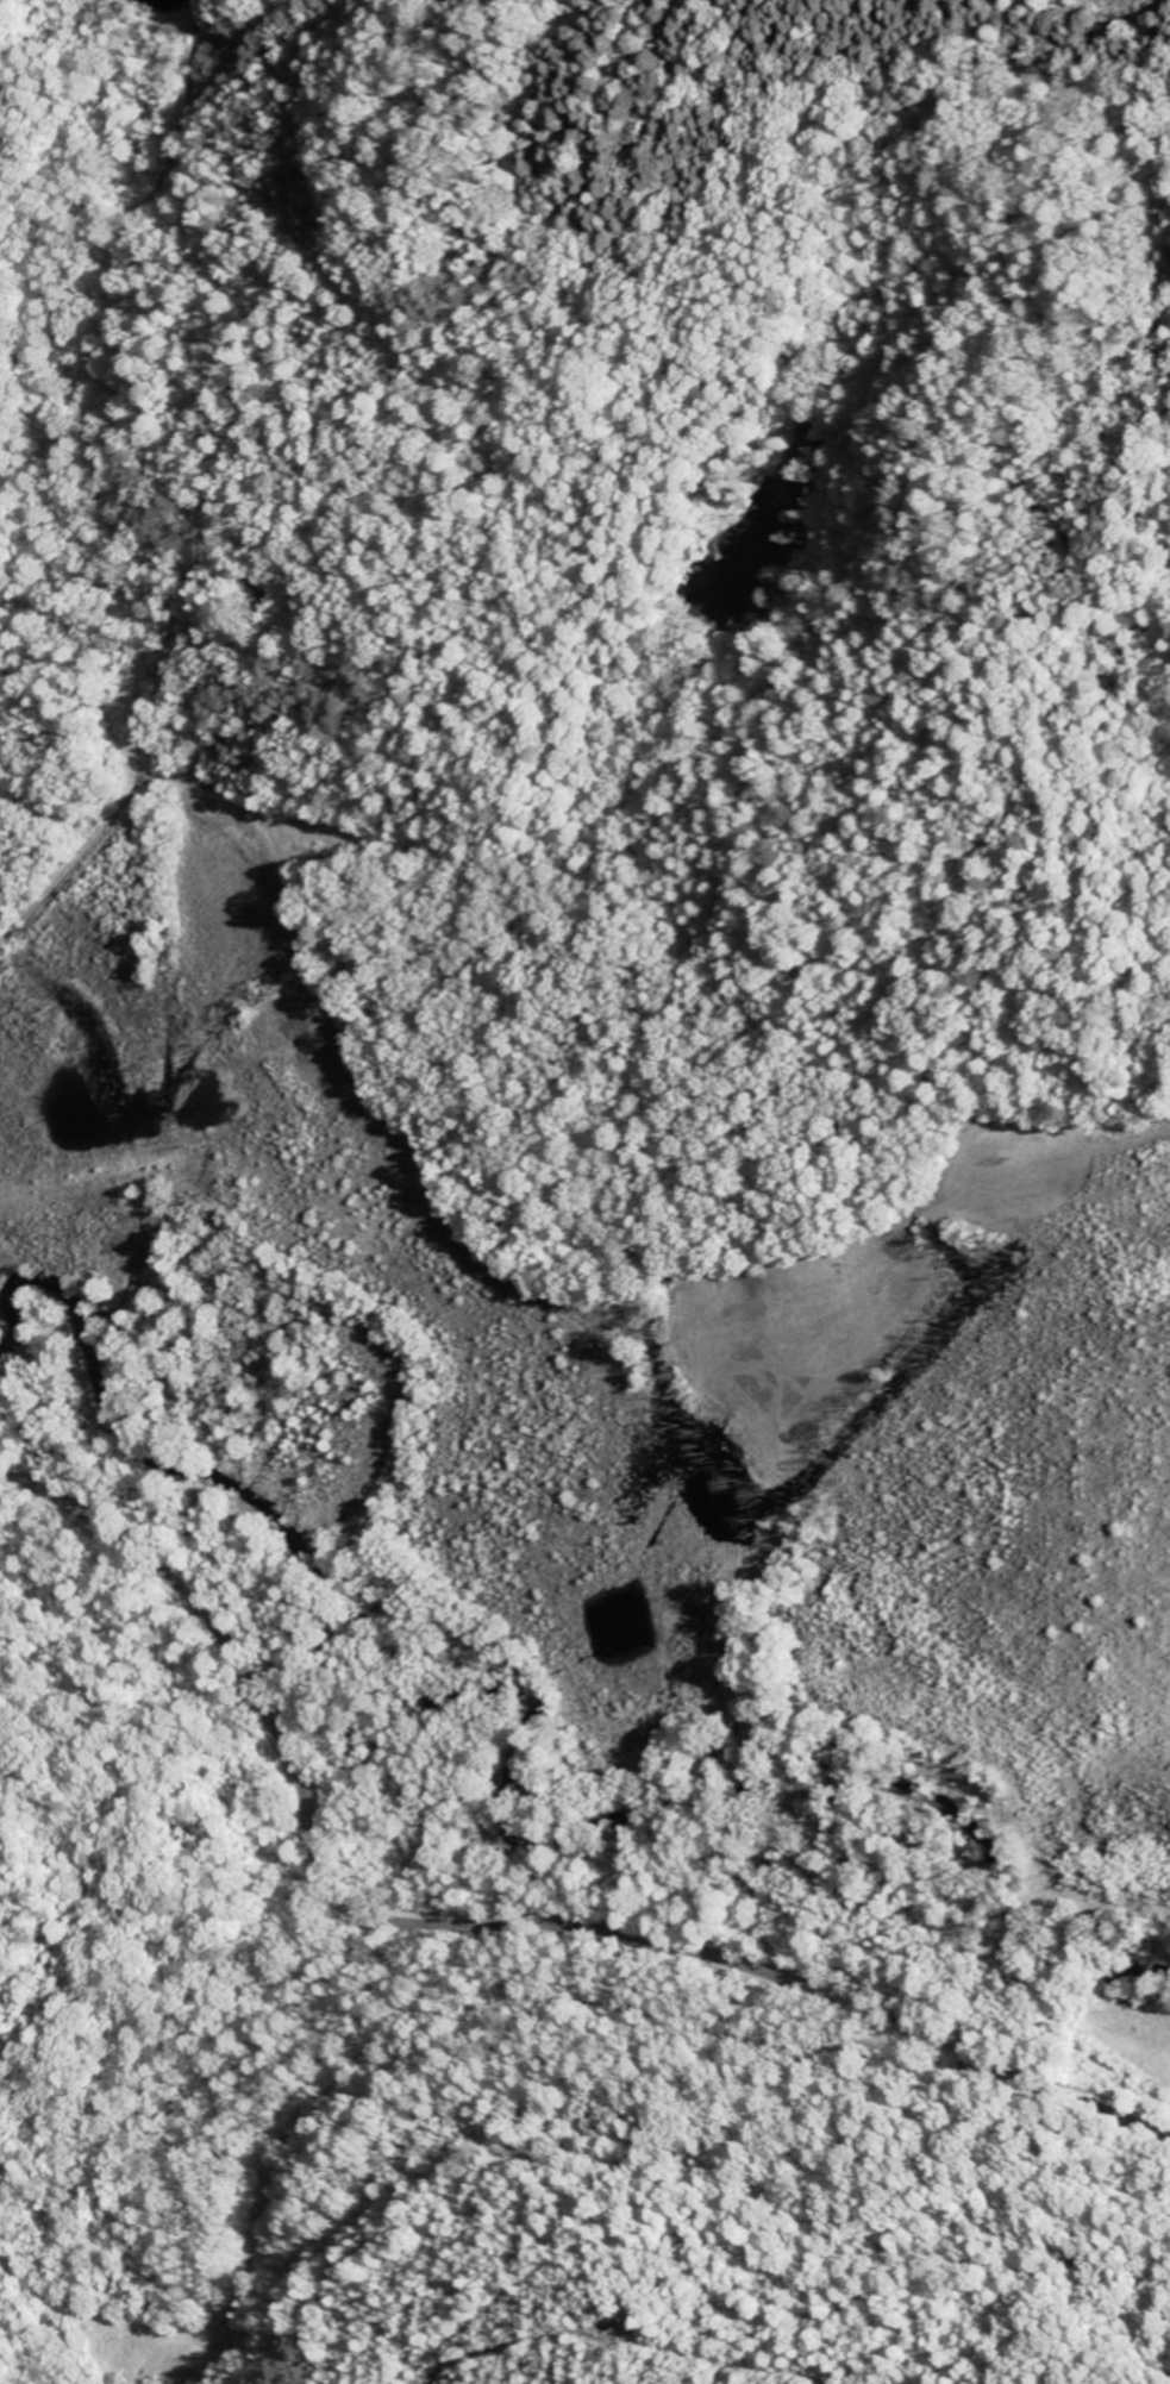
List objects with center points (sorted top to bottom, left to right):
road: (486, 1927)

